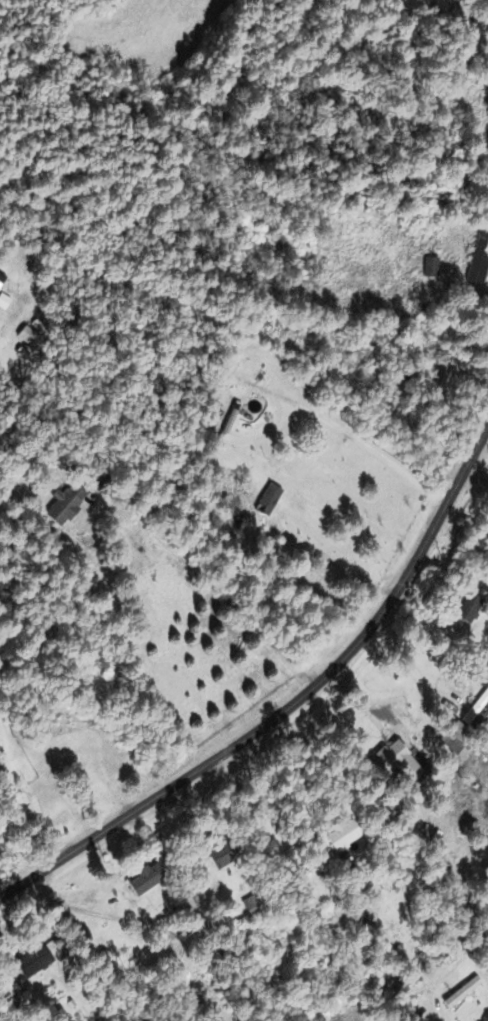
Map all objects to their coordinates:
building: (478, 261)
building: (428, 266)
building: (438, 383)
building: (267, 500)
building: (63, 504)
building: (138, 529)
building: (467, 608)
road: (289, 706)
building: (485, 723)
building: (457, 733)
building: (53, 739)
building: (341, 834)
building: (221, 854)
building: (143, 879)
building: (252, 904)
building: (33, 962)
building: (461, 992)

